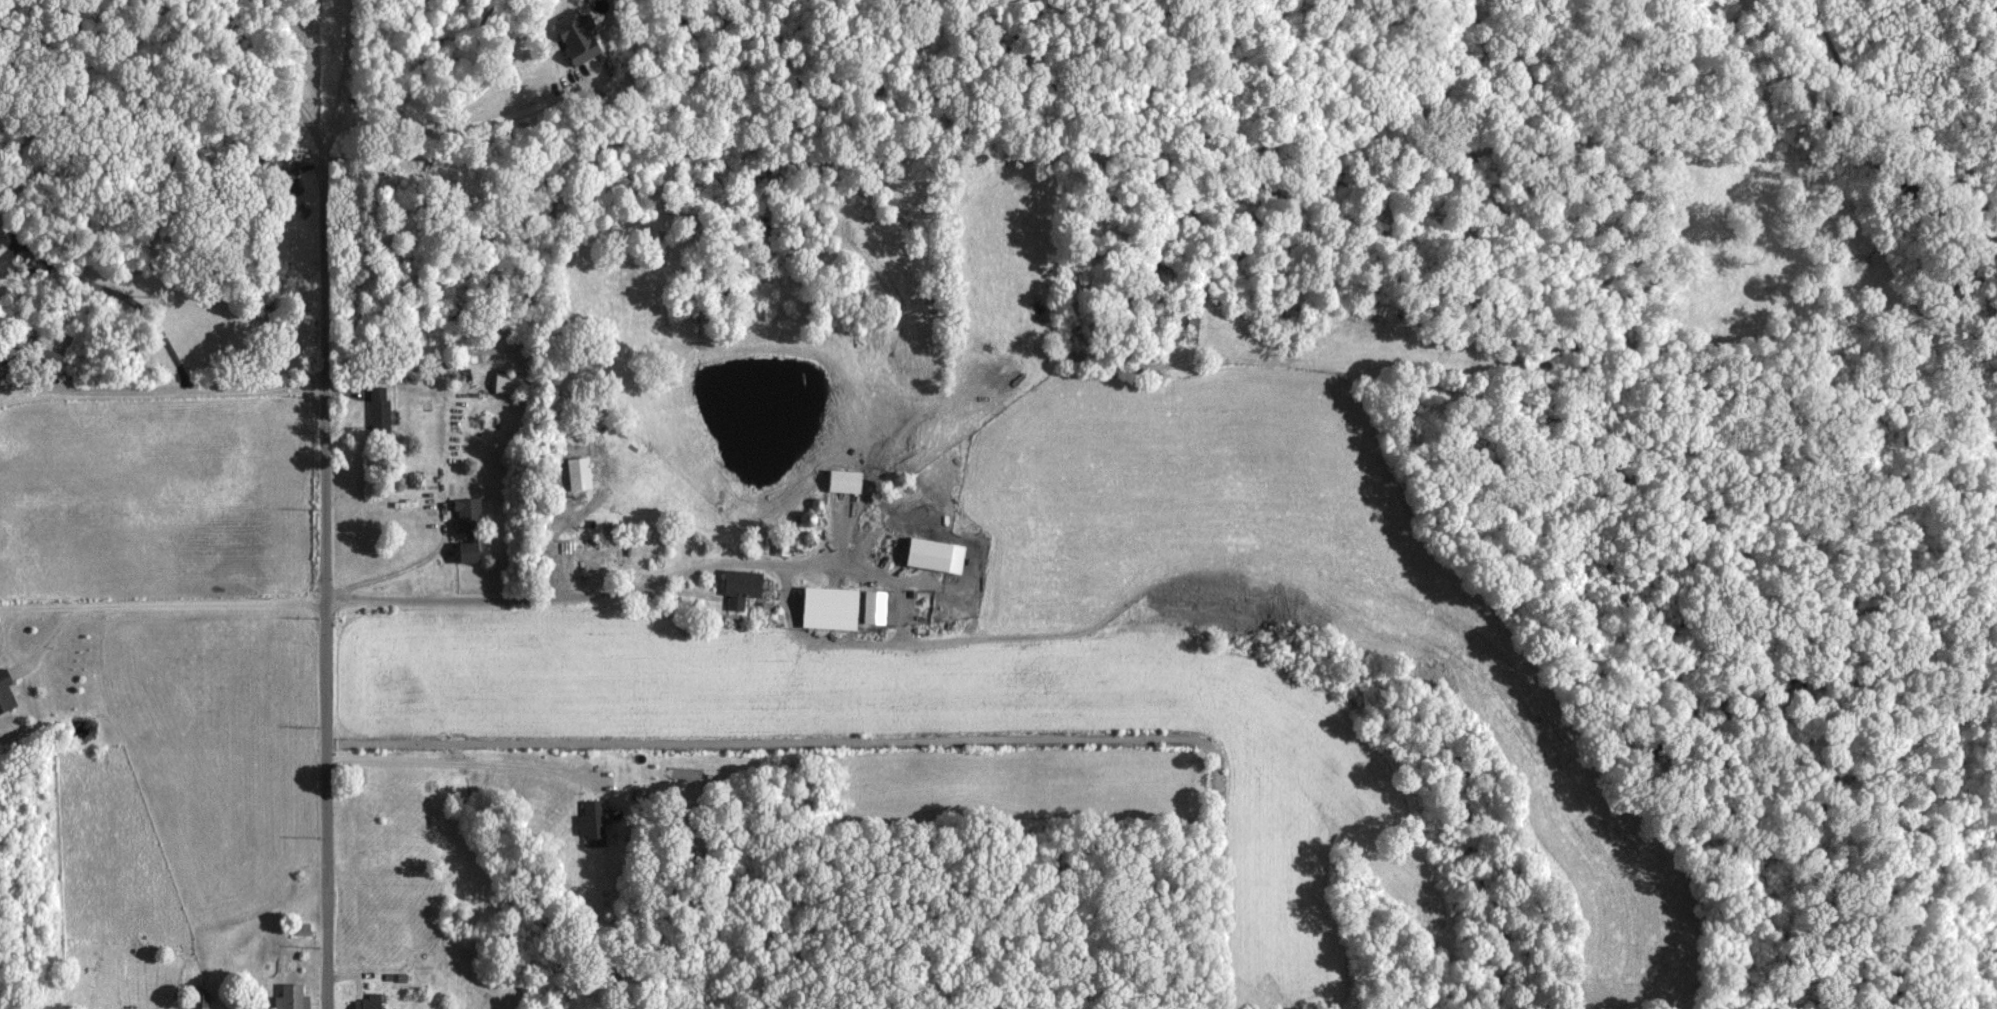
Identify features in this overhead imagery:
building: (579, 35)
road: (346, 76)
road: (439, 127)
road: (114, 294)
road: (371, 375)
building: (511, 382)
road: (9, 383)
road: (1104, 409)
building: (381, 410)
building: (582, 473)
building: (847, 481)
road: (322, 488)
building: (470, 514)
building: (473, 552)
building: (939, 555)
road: (861, 563)
building: (744, 587)
road: (162, 606)
building: (878, 607)
building: (834, 608)
building: (7, 691)
road: (903, 735)
road: (461, 764)
building: (594, 821)
building: (292, 996)
building: (372, 1001)

